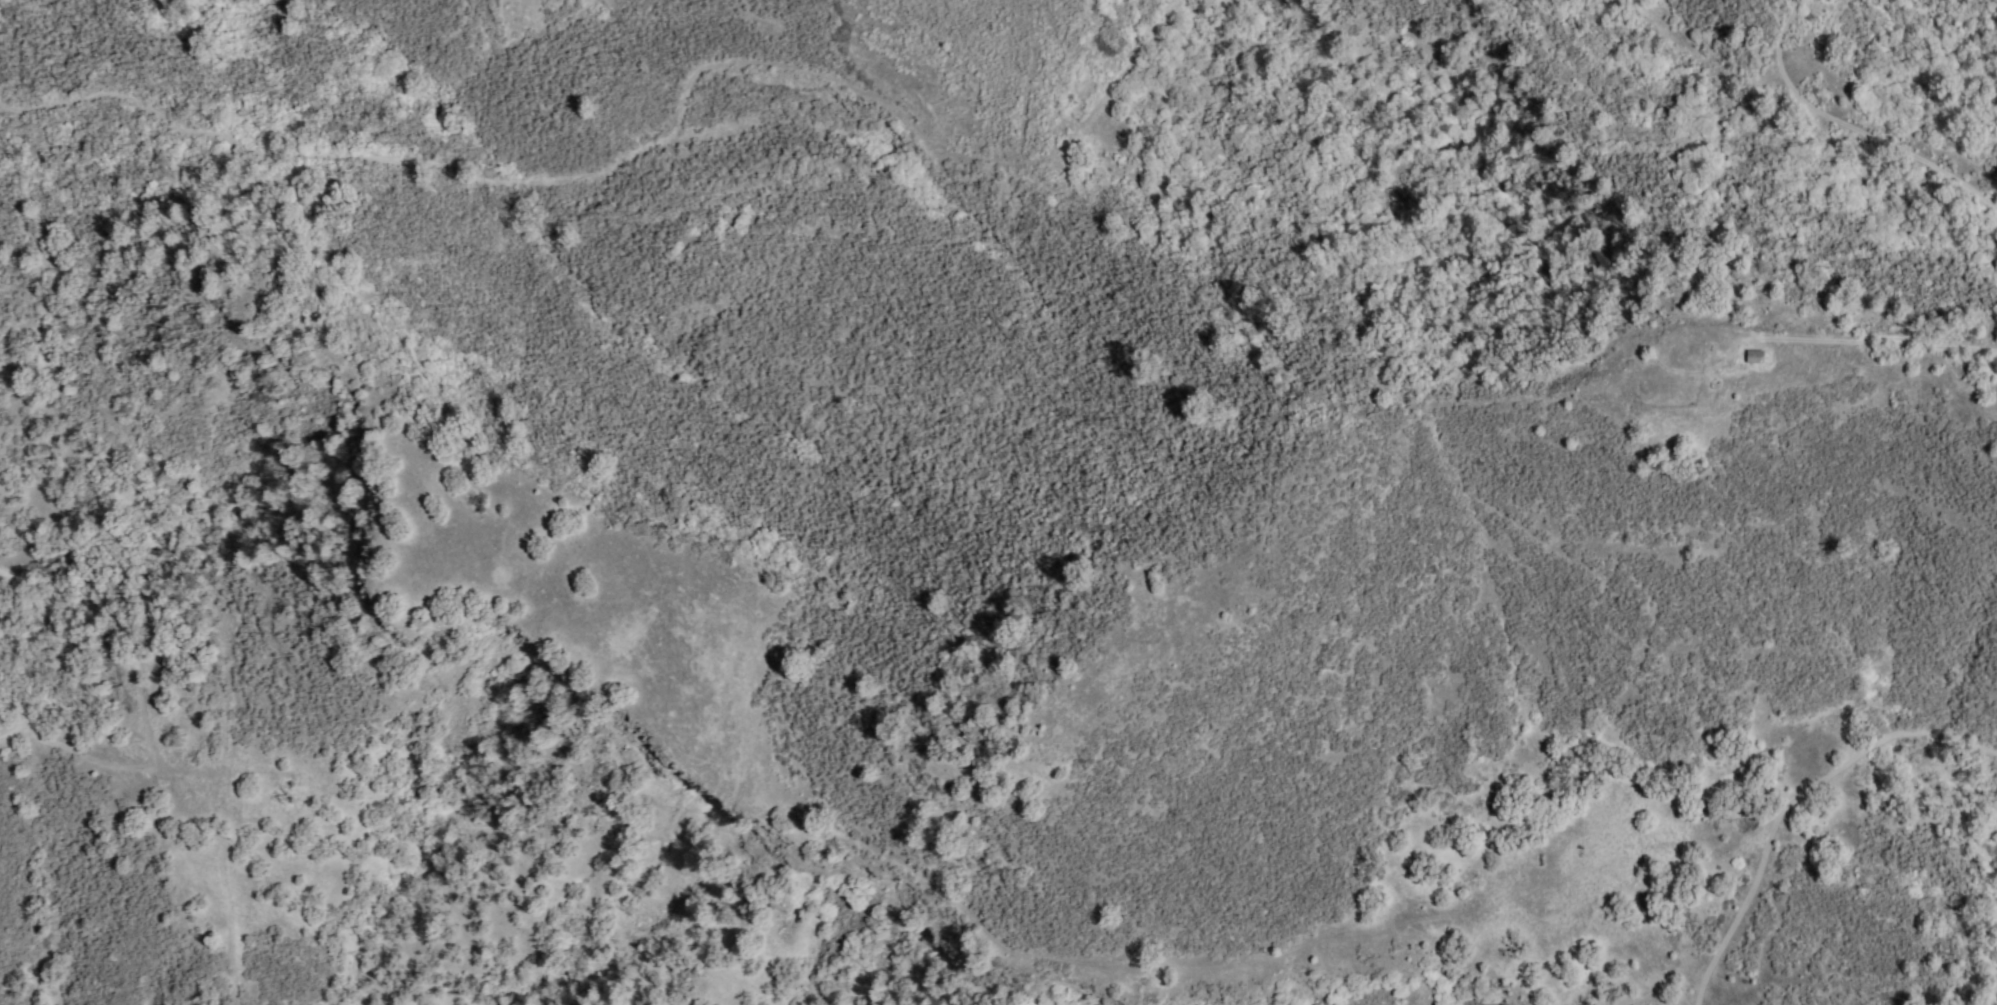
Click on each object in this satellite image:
road: (1744, 78)
road: (1100, 93)
road: (618, 162)
building: (1757, 357)
road: (64, 655)

